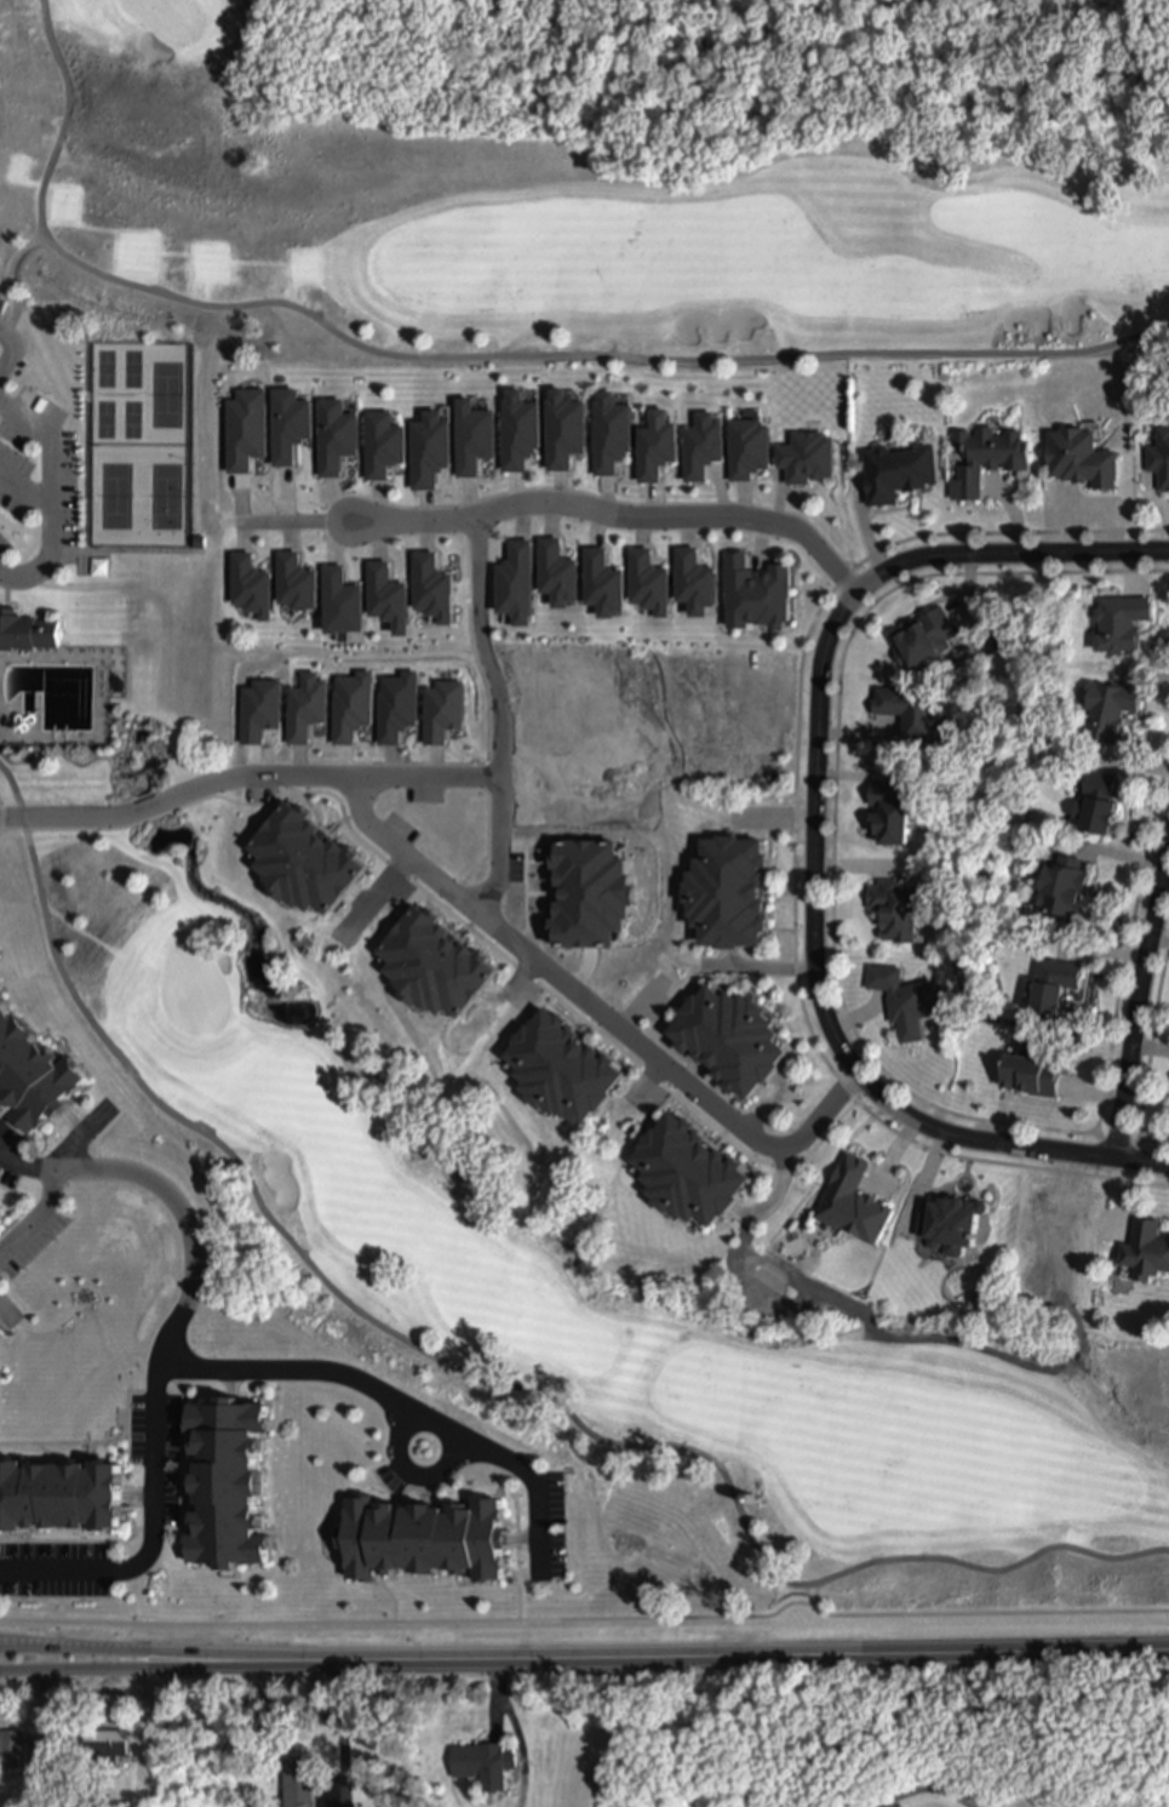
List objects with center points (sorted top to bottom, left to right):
park: (165, 18)
parking lot: (1, 310)
road: (7, 341)
road: (7, 358)
road: (469, 358)
park: (111, 395)
park: (164, 395)
building: (563, 430)
building: (518, 431)
building: (611, 434)
building: (472, 436)
building: (701, 446)
building: (747, 447)
building: (655, 450)
building: (985, 451)
building: (1077, 451)
building: (1159, 451)
building: (807, 457)
building: (898, 469)
parking lot: (31, 473)
road: (23, 490)
road: (46, 493)
park: (111, 497)
park: (164, 497)
road: (630, 517)
road: (286, 521)
road: (330, 521)
road: (90, 550)
road: (1004, 551)
building: (557, 573)
building: (694, 582)
building: (648, 583)
building: (516, 584)
building: (603, 584)
building: (756, 593)
road: (1, 594)
park: (107, 611)
building: (1122, 621)
building: (24, 631)
building: (927, 634)
building: (909, 705)
building: (1111, 705)
road: (494, 719)
road: (367, 779)
building: (1100, 801)
building: (893, 810)
road: (121, 813)
road: (812, 836)
building: (304, 857)
building: (1066, 882)
building: (728, 890)
building: (899, 908)
building: (434, 963)
building: (1058, 983)
park: (191, 989)
road: (1135, 990)
building: (905, 997)
road: (592, 1011)
building: (732, 1037)
building: (561, 1065)
building: (1033, 1073)
building: (31, 1074)
road: (976, 1139)
road: (1141, 1161)
building: (689, 1171)
road: (34, 1212)
building: (953, 1222)
building: (1147, 1248)
road: (160, 1356)
road: (319, 1371)
road: (474, 1377)
road: (411, 1475)
road: (538, 1477)
building: (231, 1486)
building: (428, 1542)
road: (157, 1651)
road: (743, 1654)
road: (159, 1666)
road: (340, 1725)
building: (105, 1743)
park: (841, 1743)
building: (12, 1746)
building: (483, 1761)
building: (299, 1780)
road: (921, 1790)

